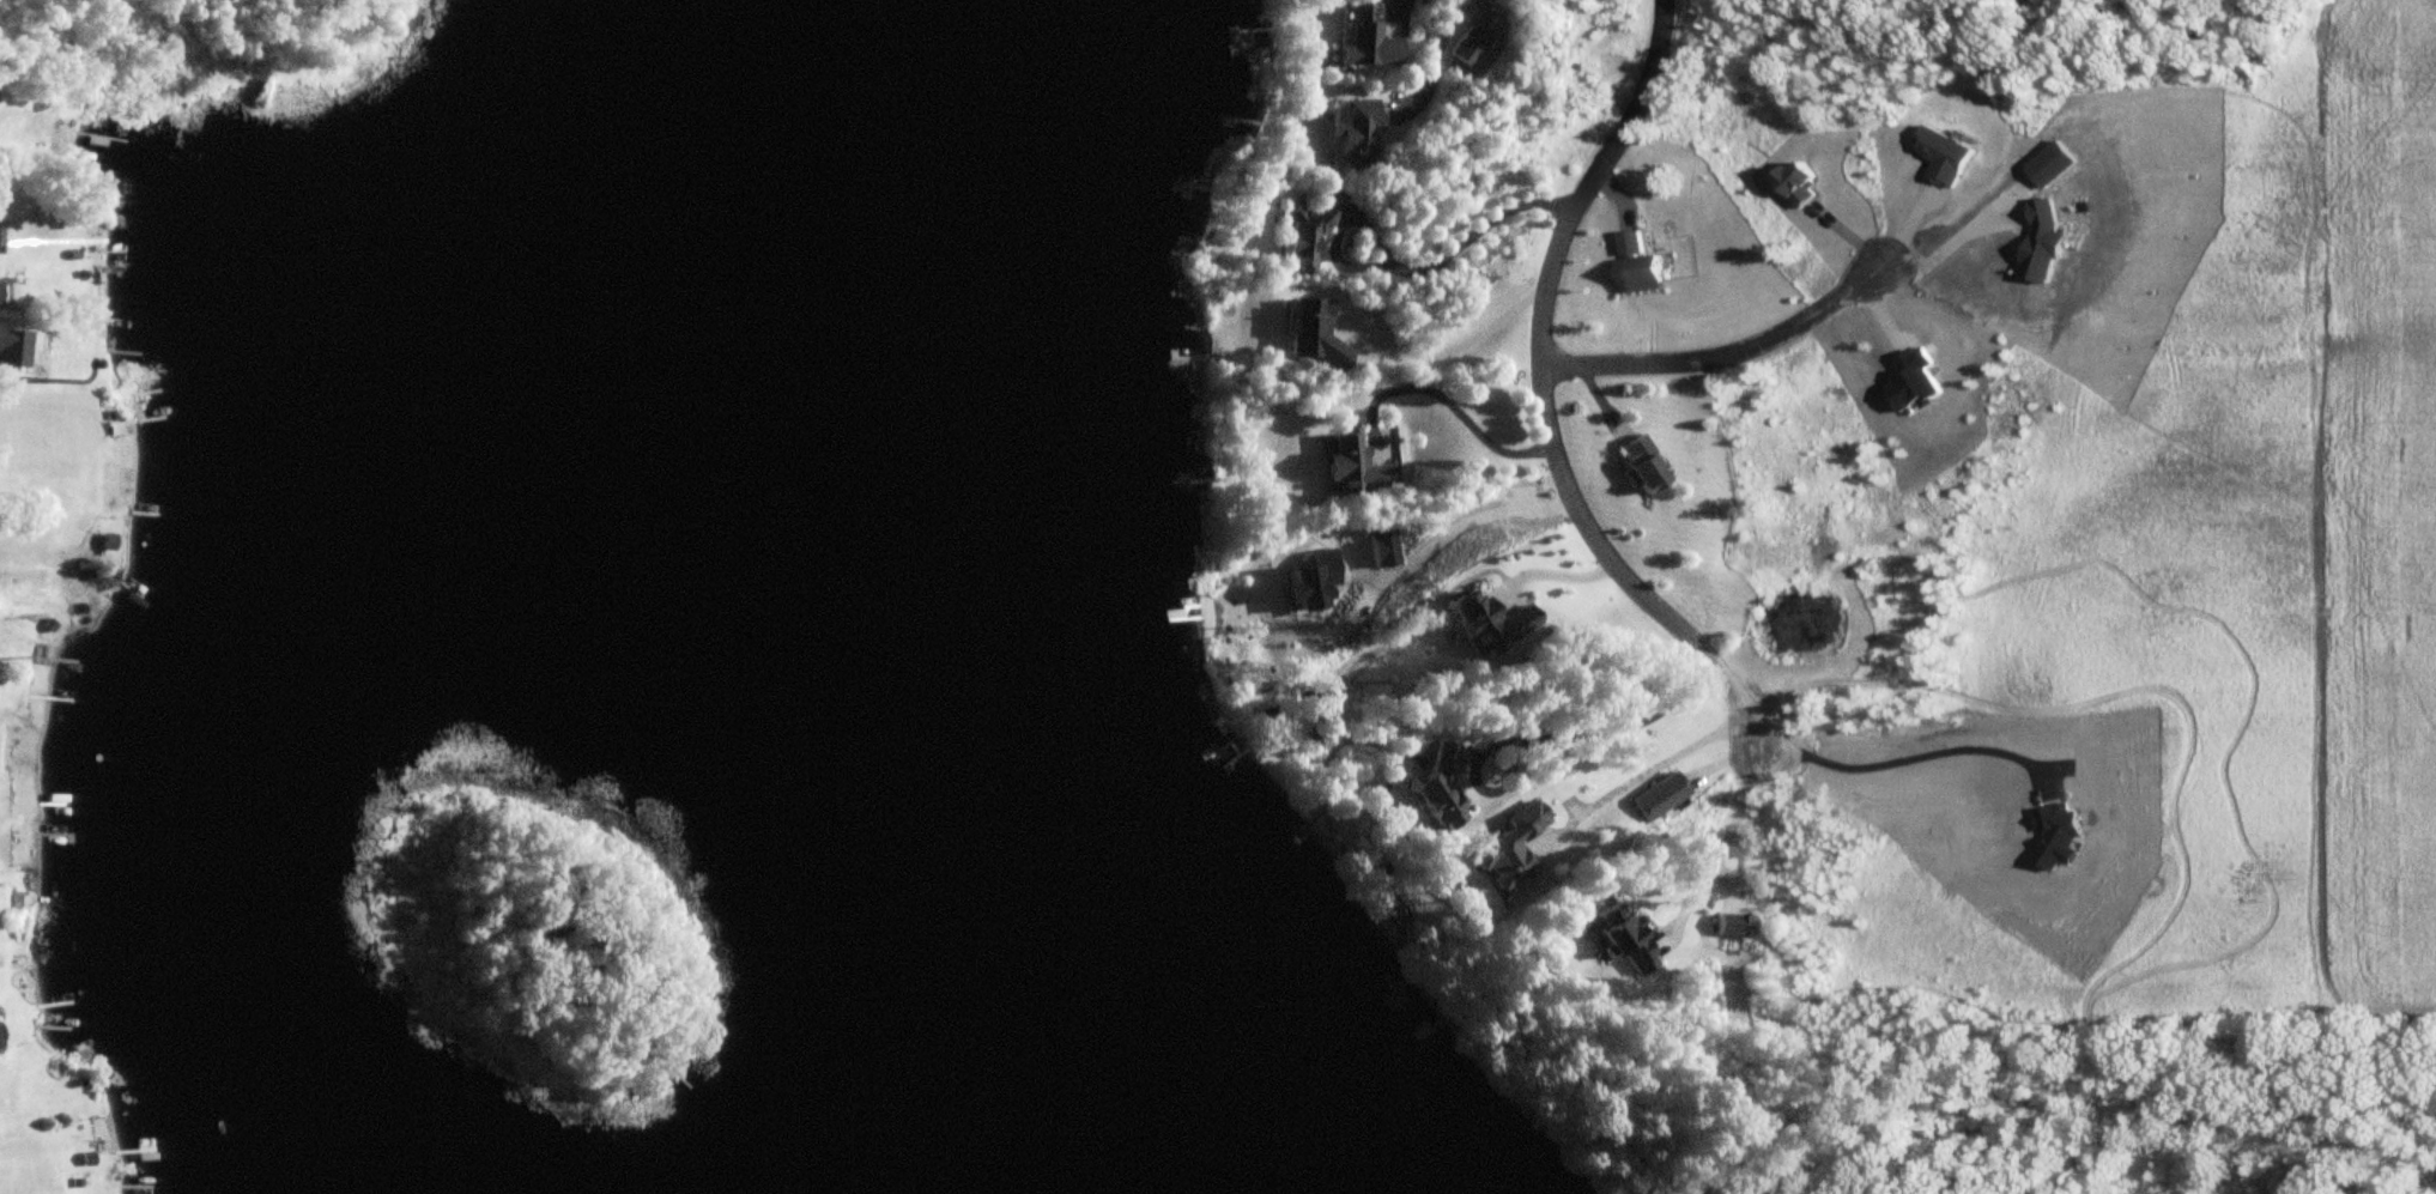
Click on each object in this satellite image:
building: (1365, 40)
road: (1447, 60)
building: (1353, 135)
building: (1794, 183)
building: (1302, 237)
building: (1635, 265)
road: (1416, 269)
building: (10, 347)
road: (1424, 353)
road: (1721, 356)
road: (1546, 393)
road: (1452, 402)
building: (1641, 465)
building: (1356, 467)
road: (1495, 531)
building: (107, 544)
road: (1553, 737)
road: (1648, 769)
building: (1437, 787)
road: (1728, 835)
building: (1511, 848)

